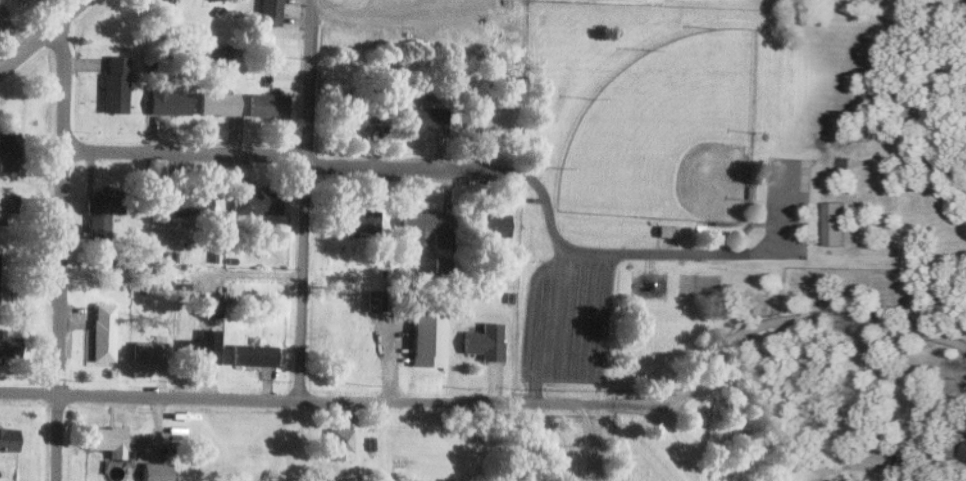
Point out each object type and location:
building: (169, 0)
building: (2, 11)
building: (271, 12)
road: (41, 35)
building: (219, 49)
building: (278, 78)
building: (115, 82)
building: (170, 102)
building: (219, 102)
building: (268, 103)
building: (360, 113)
building: (426, 116)
building: (491, 117)
building: (9, 150)
road: (284, 151)
road: (303, 199)
building: (257, 200)
building: (7, 203)
building: (189, 206)
building: (102, 211)
building: (356, 219)
building: (426, 223)
building: (492, 223)
building: (834, 223)
road: (59, 252)
building: (210, 304)
road: (804, 315)
building: (412, 325)
building: (103, 328)
building: (486, 341)
building: (8, 344)
building: (198, 350)
building: (150, 351)
building: (254, 354)
road: (335, 400)
building: (703, 414)
building: (8, 438)
building: (109, 439)
road: (585, 441)
building: (340, 444)
building: (625, 453)
building: (964, 454)
building: (156, 471)

